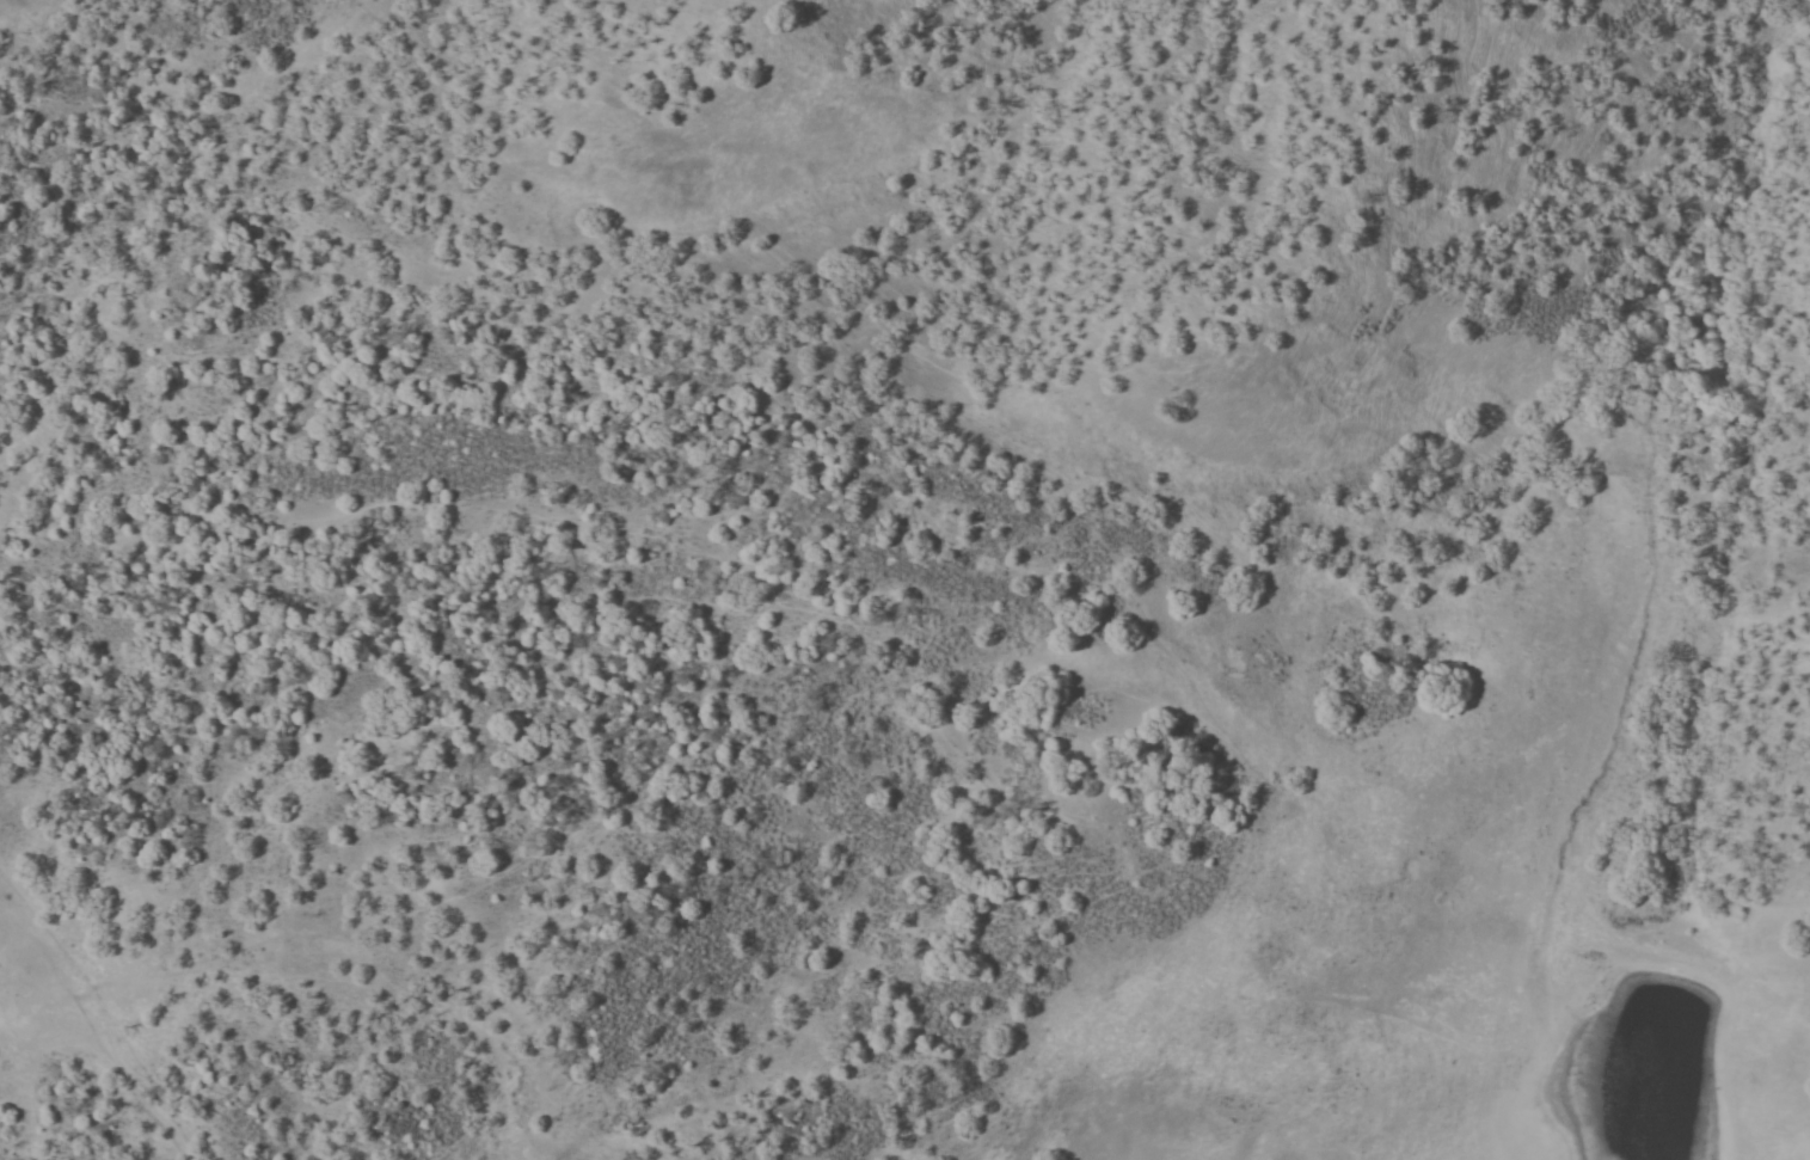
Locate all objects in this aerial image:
road: (93, 1032)

